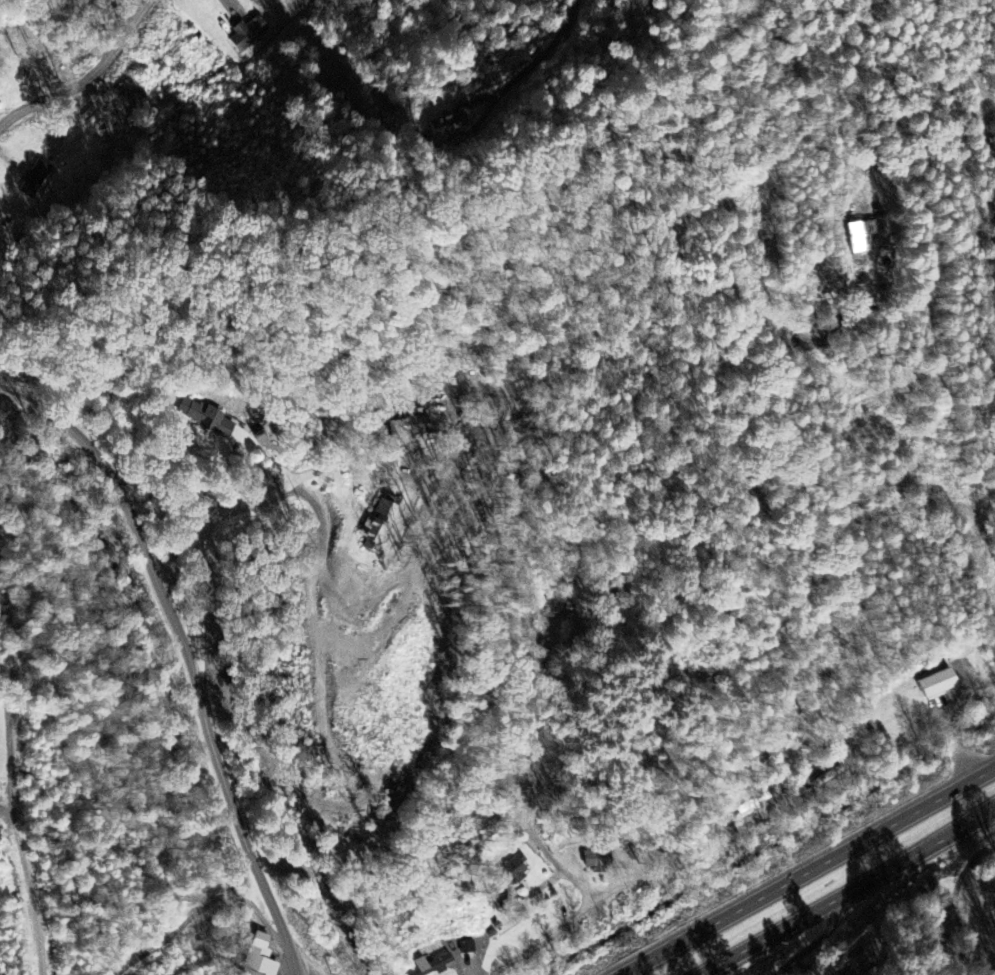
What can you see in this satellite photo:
building: (246, 34)
road: (89, 79)
building: (446, 125)
building: (37, 181)
road: (33, 407)
building: (208, 417)
building: (937, 685)
road: (201, 688)
road: (810, 871)
road: (841, 894)
road: (958, 895)
road: (560, 927)
road: (824, 938)
building: (465, 947)
building: (259, 957)
building: (433, 965)
building: (852, 972)

